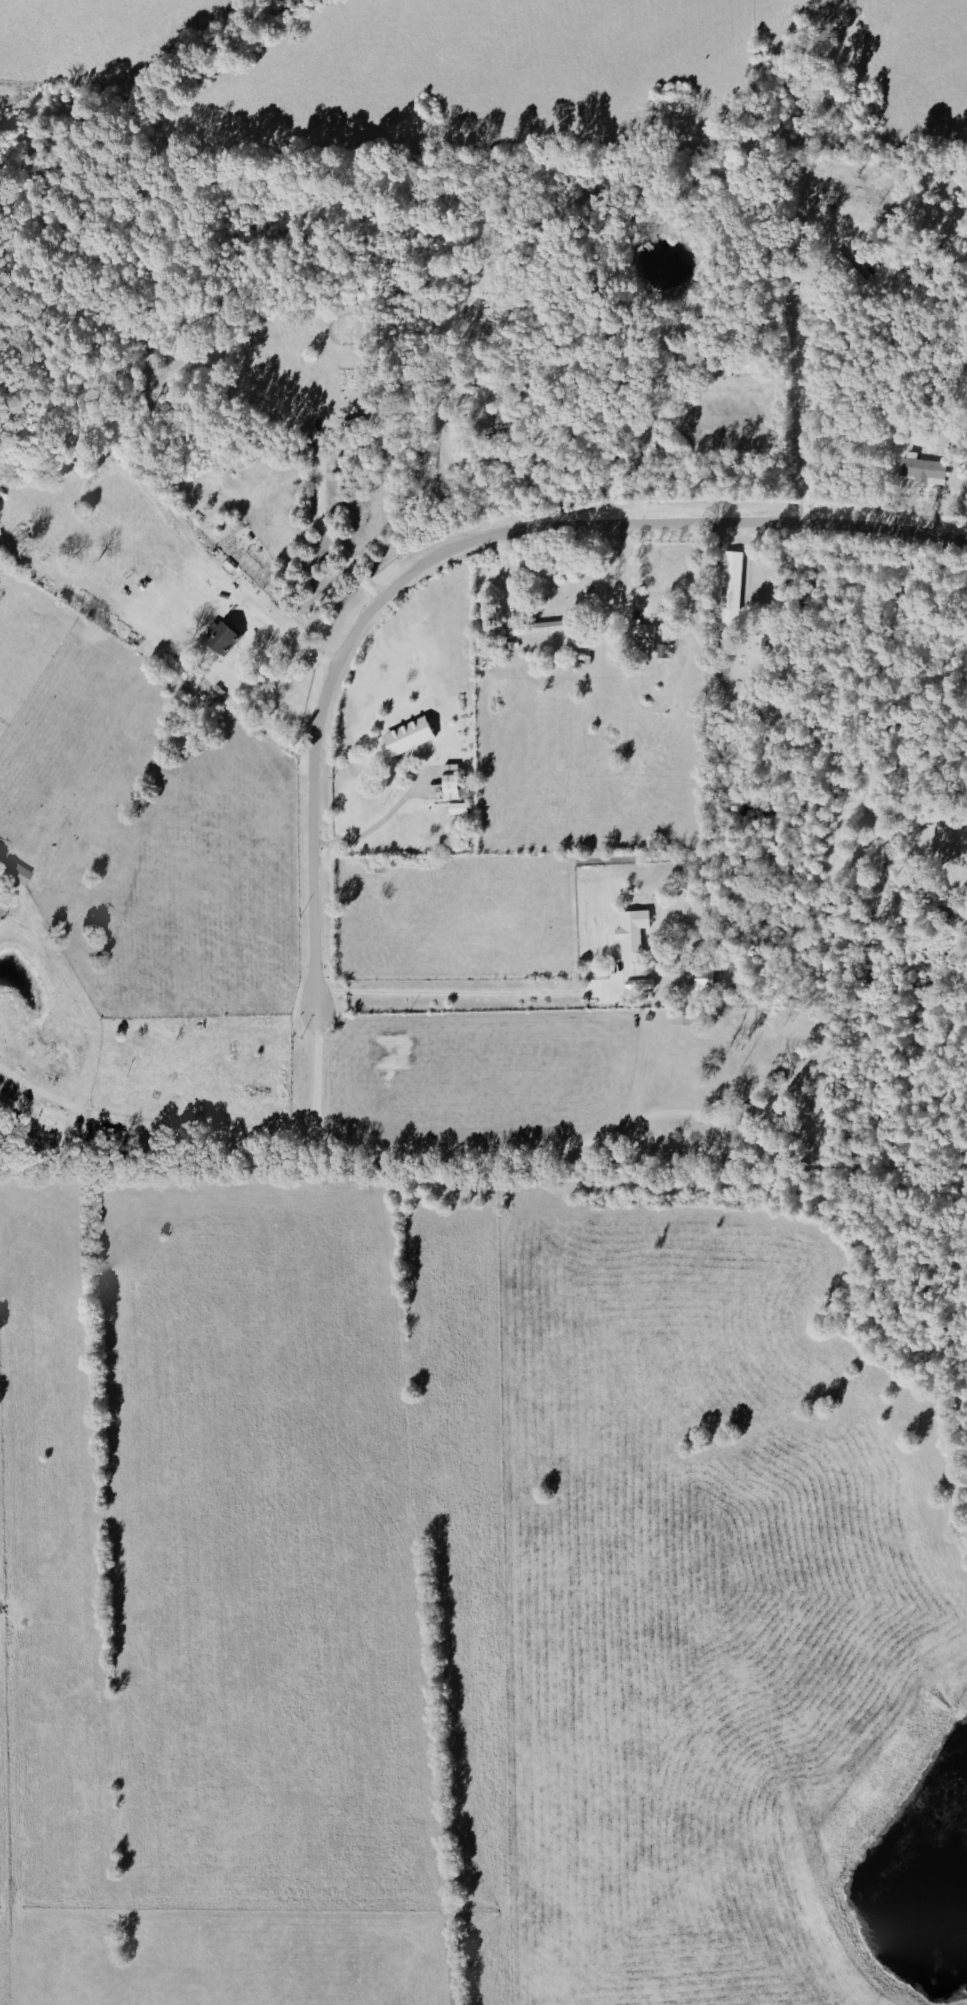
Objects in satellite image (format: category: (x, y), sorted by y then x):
road: (799, 417)
building: (920, 469)
road: (768, 569)
building: (729, 590)
building: (543, 626)
building: (637, 632)
road: (284, 636)
building: (217, 637)
building: (403, 737)
building: (453, 808)
road: (953, 820)
road: (372, 826)
building: (618, 961)
road: (458, 992)
road: (307, 1032)
road: (147, 1124)
road: (575, 1145)

